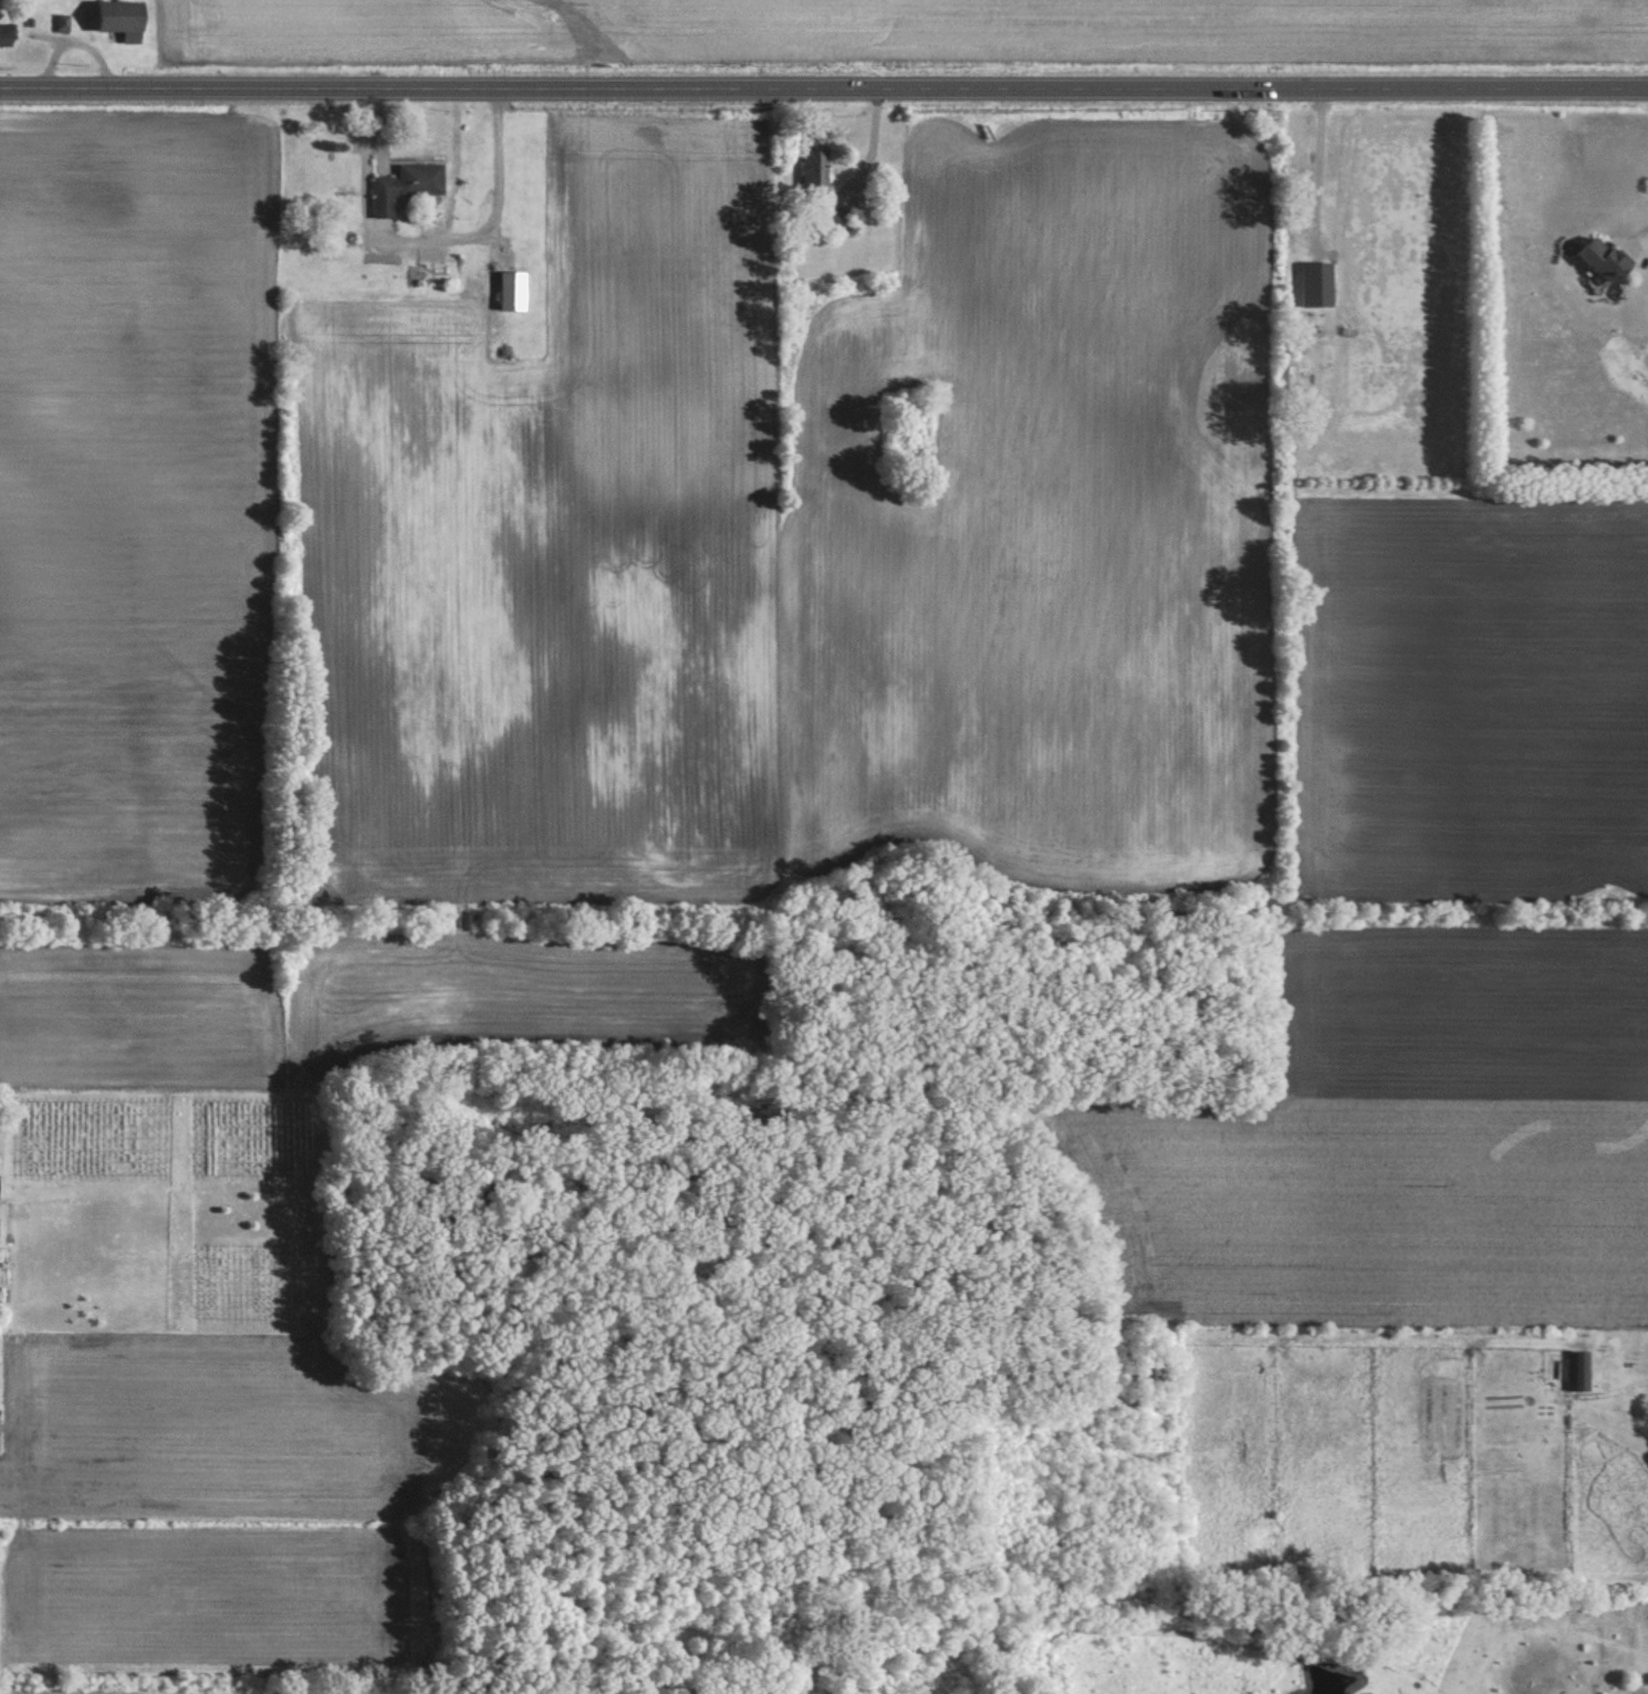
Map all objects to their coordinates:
building: (125, 15)
building: (8, 35)
road: (81, 39)
road: (823, 97)
road: (870, 156)
building: (818, 170)
road: (362, 182)
building: (409, 185)
road: (493, 224)
building: (1606, 258)
building: (1320, 284)
building: (517, 290)
building: (0, 1185)
building: (1581, 1370)

